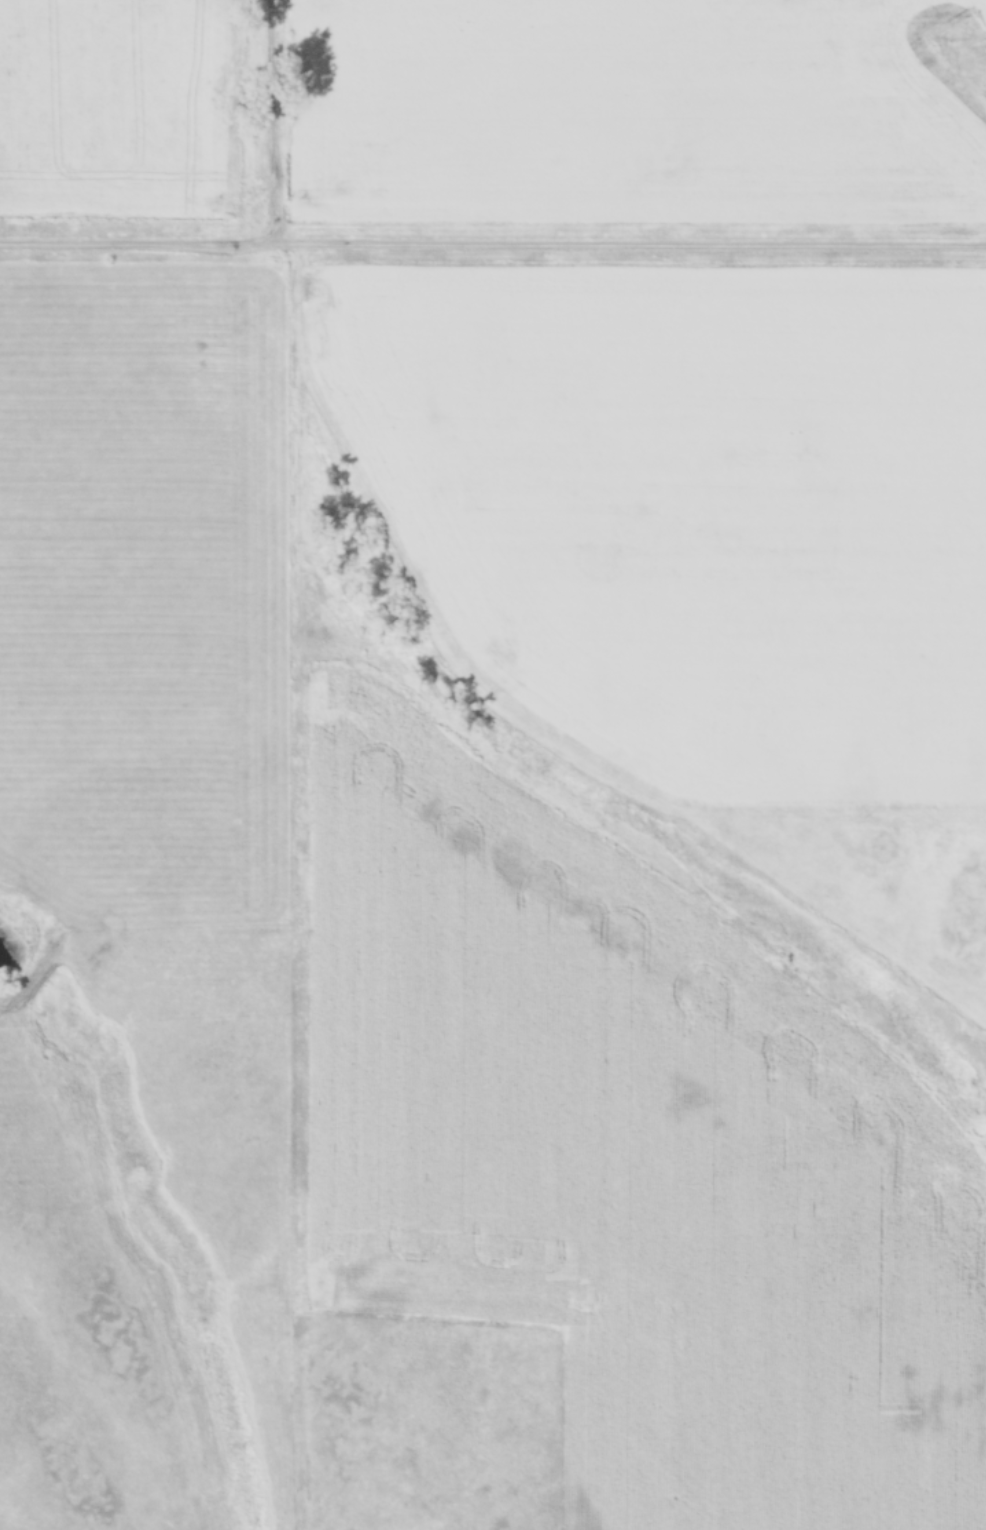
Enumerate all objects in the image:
road: (273, 122)
road: (493, 244)

